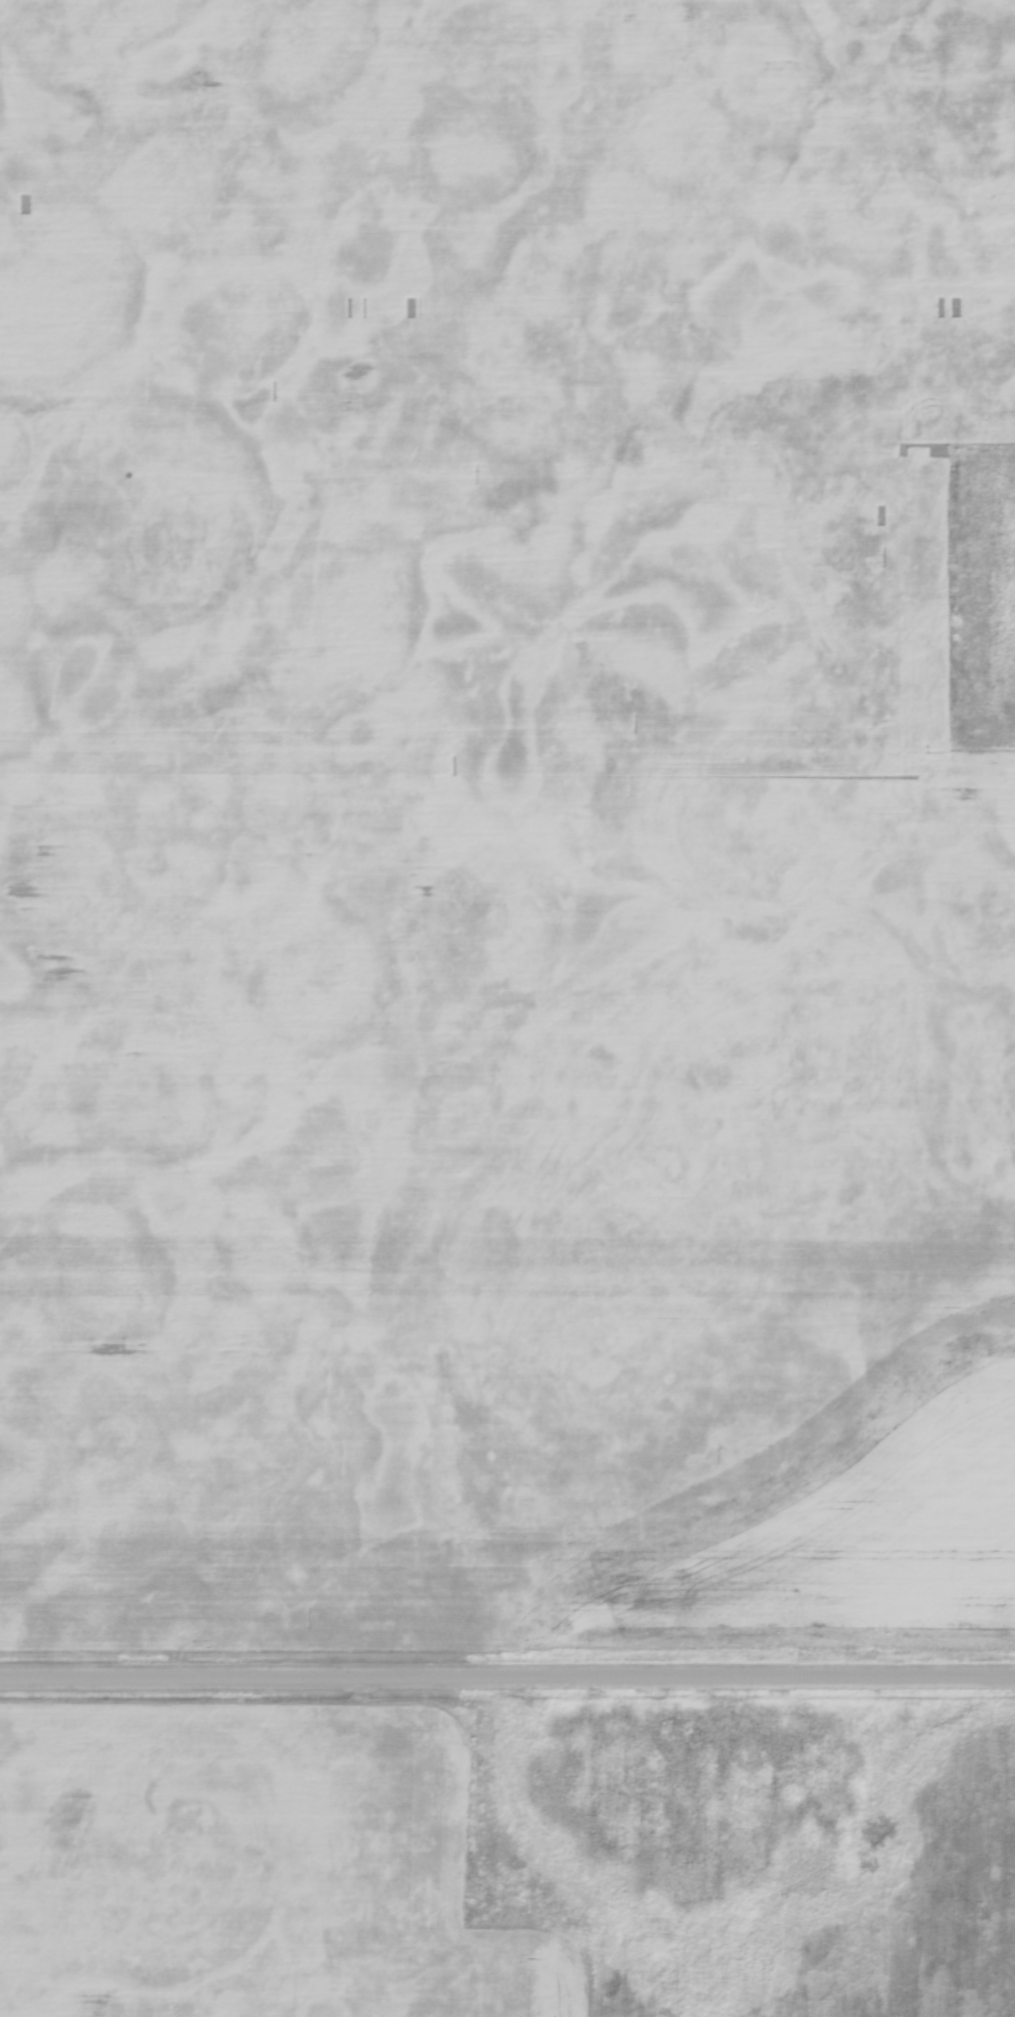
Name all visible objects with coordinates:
road: (507, 1674)

